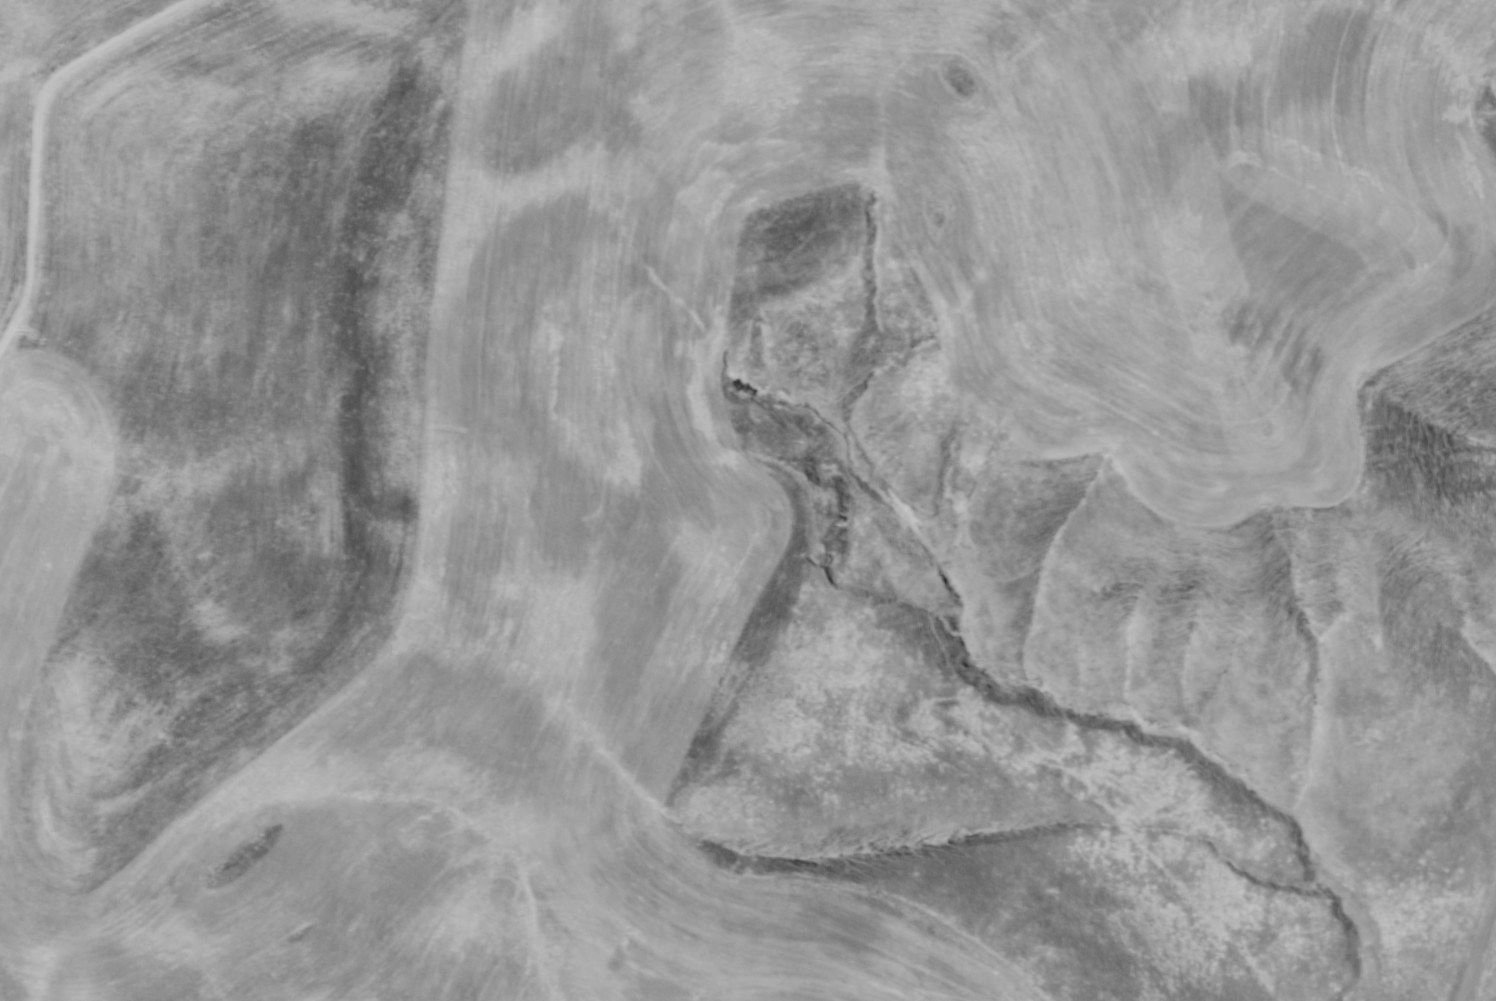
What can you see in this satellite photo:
road: (41, 140)
road: (1480, 956)

